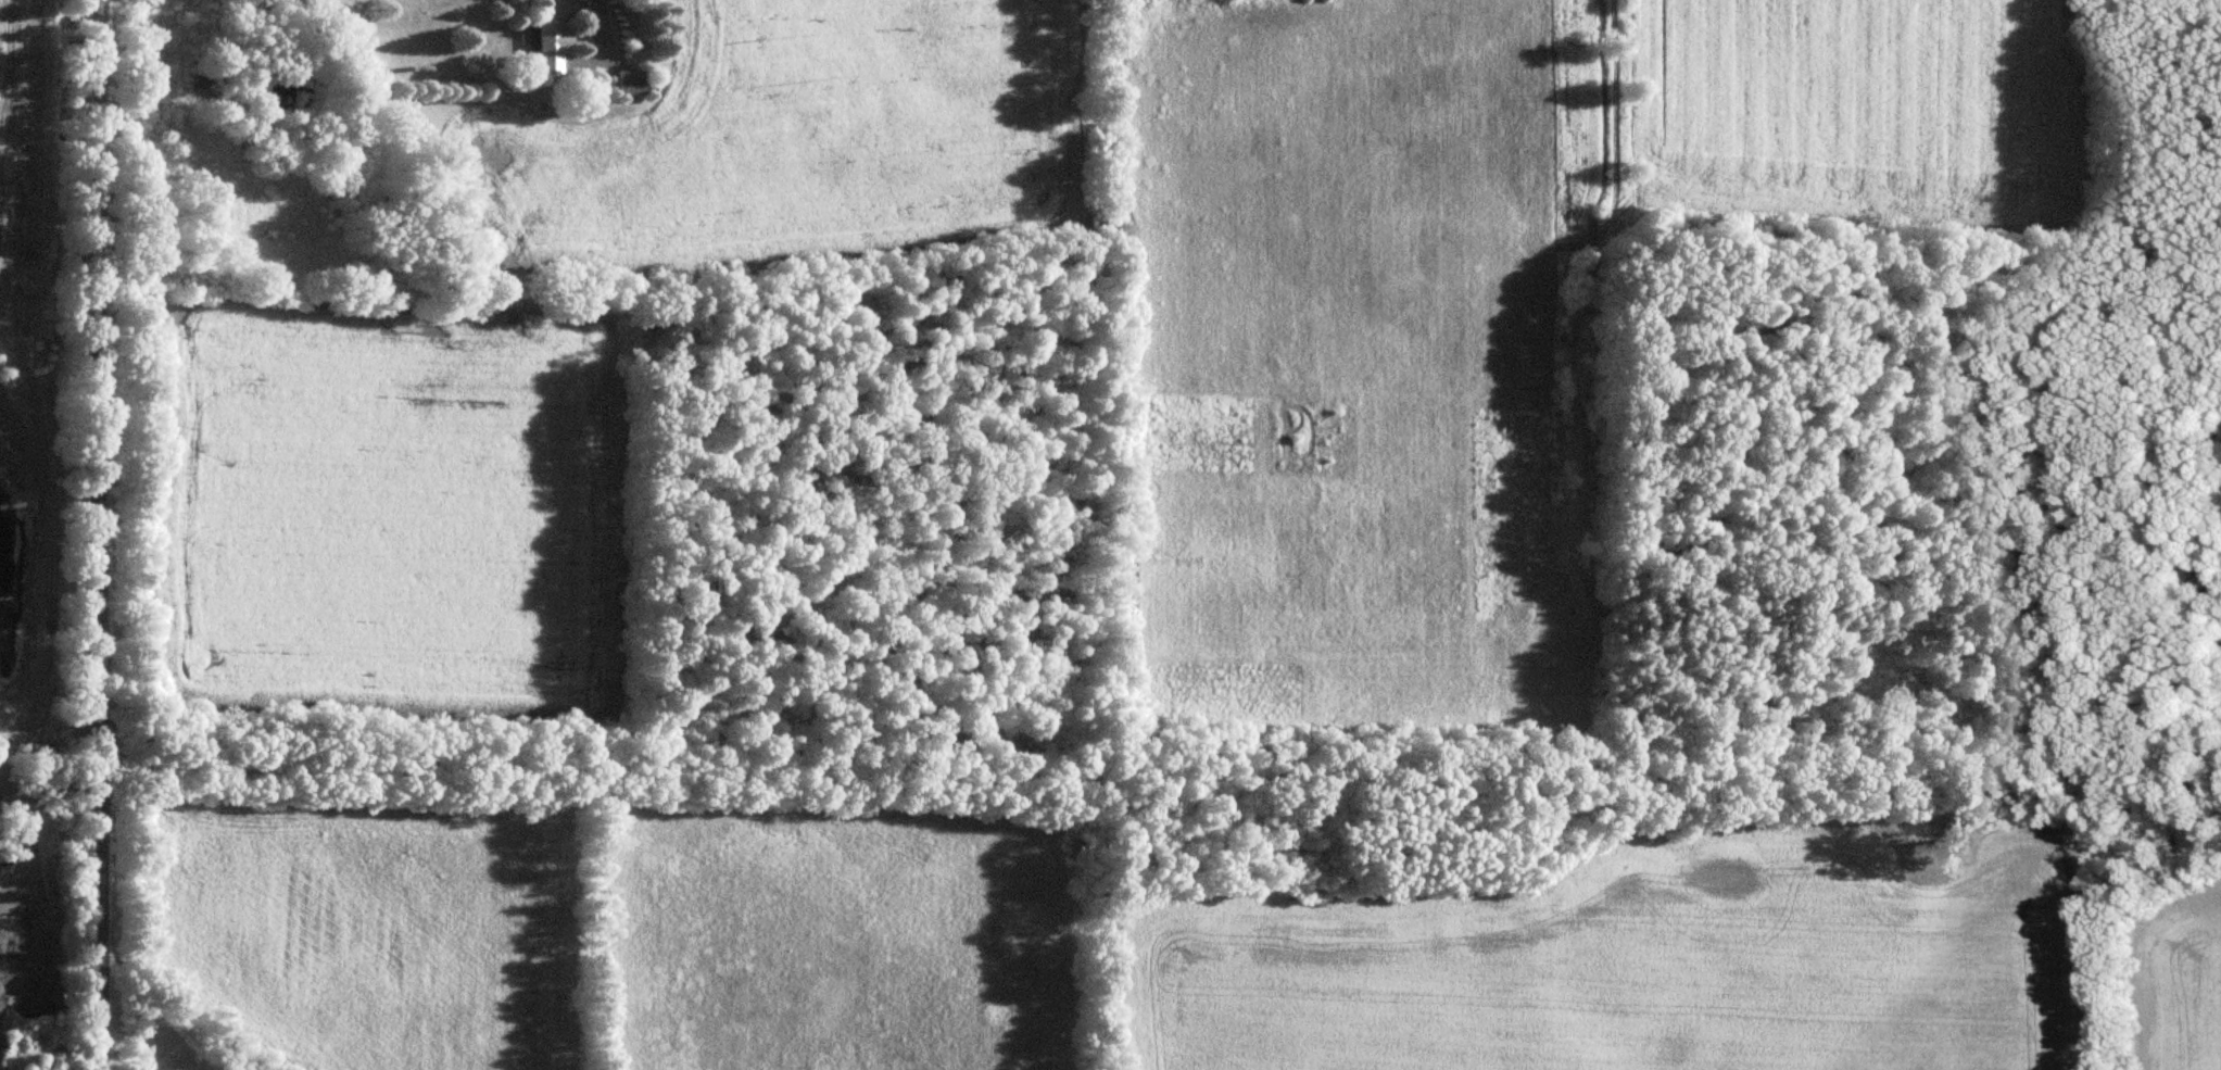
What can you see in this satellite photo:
road: (598, 14)
building: (545, 42)
building: (626, 79)
road: (101, 534)

